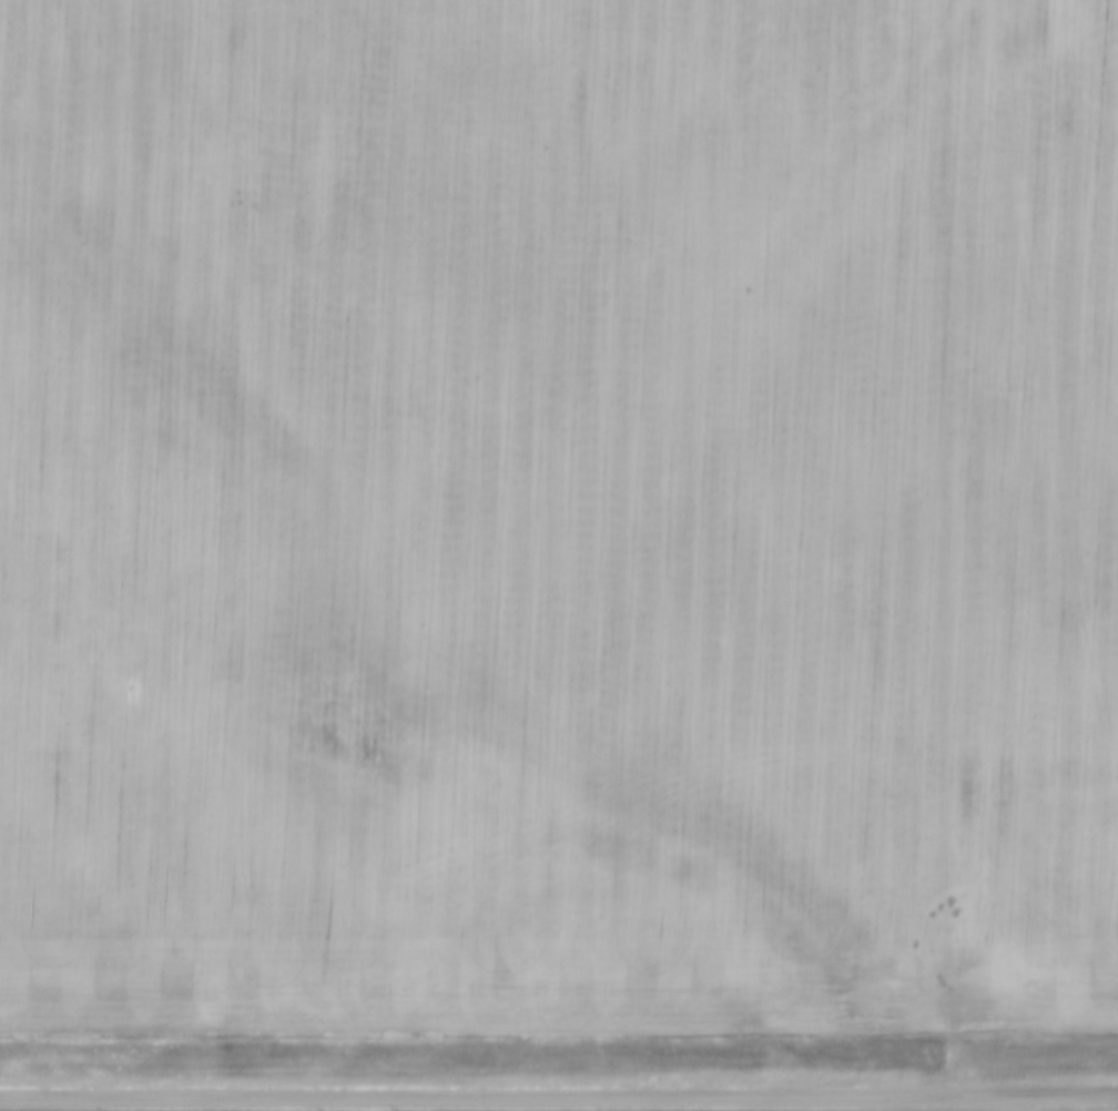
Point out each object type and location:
road: (559, 1099)

